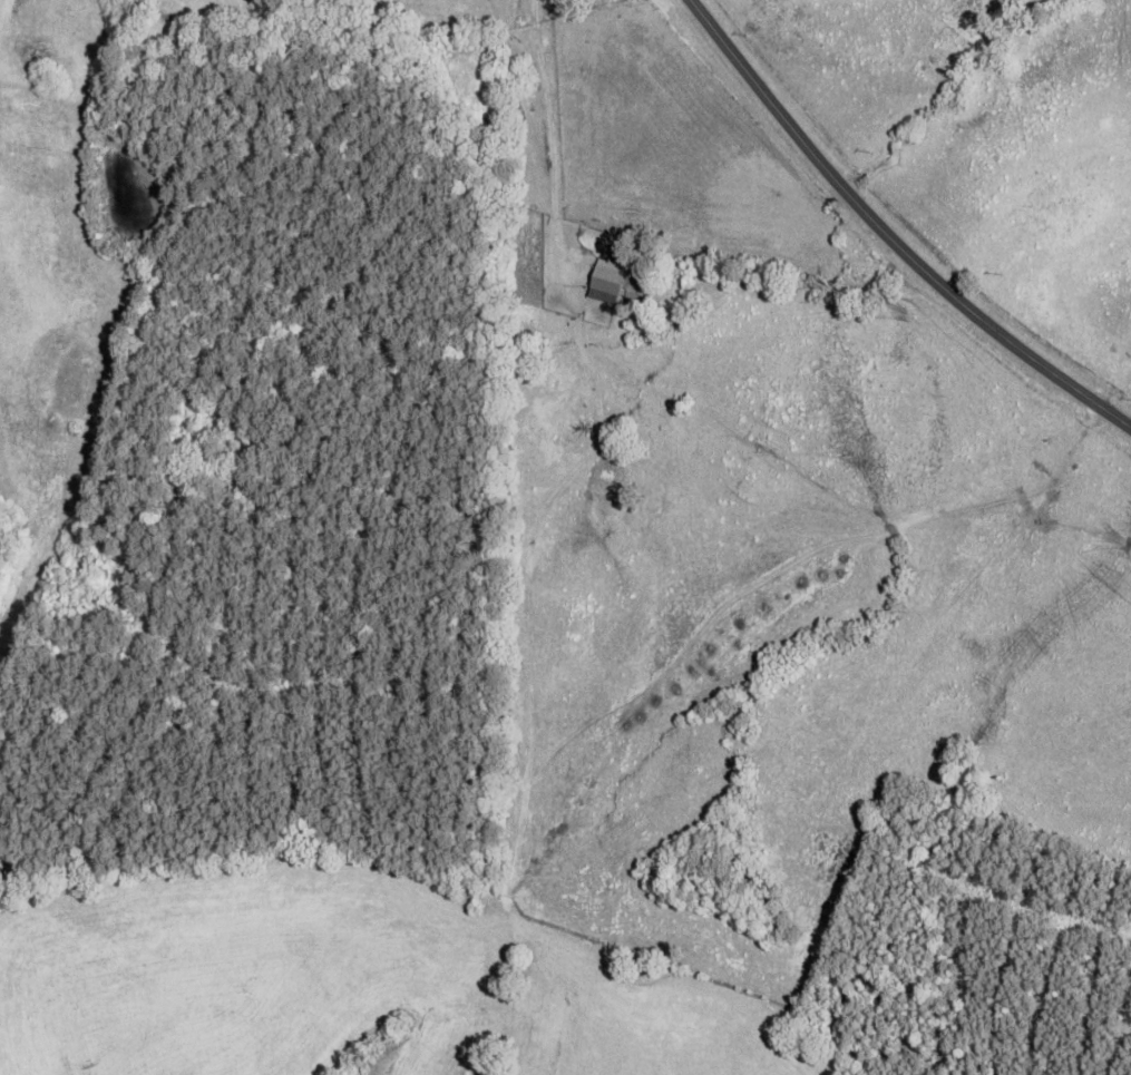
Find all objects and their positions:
road: (890, 233)
building: (612, 282)

